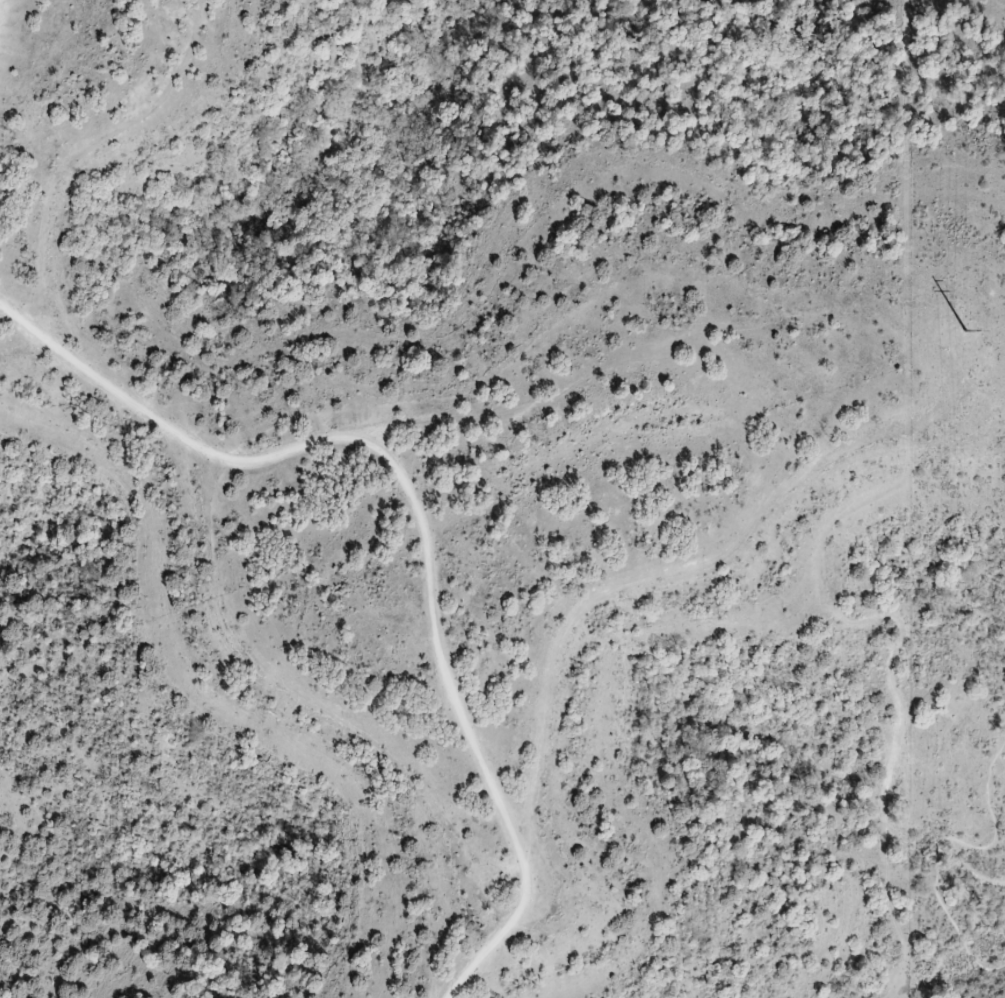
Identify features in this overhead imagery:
power tower: (967, 333)
road: (1000, 684)
road: (942, 838)

